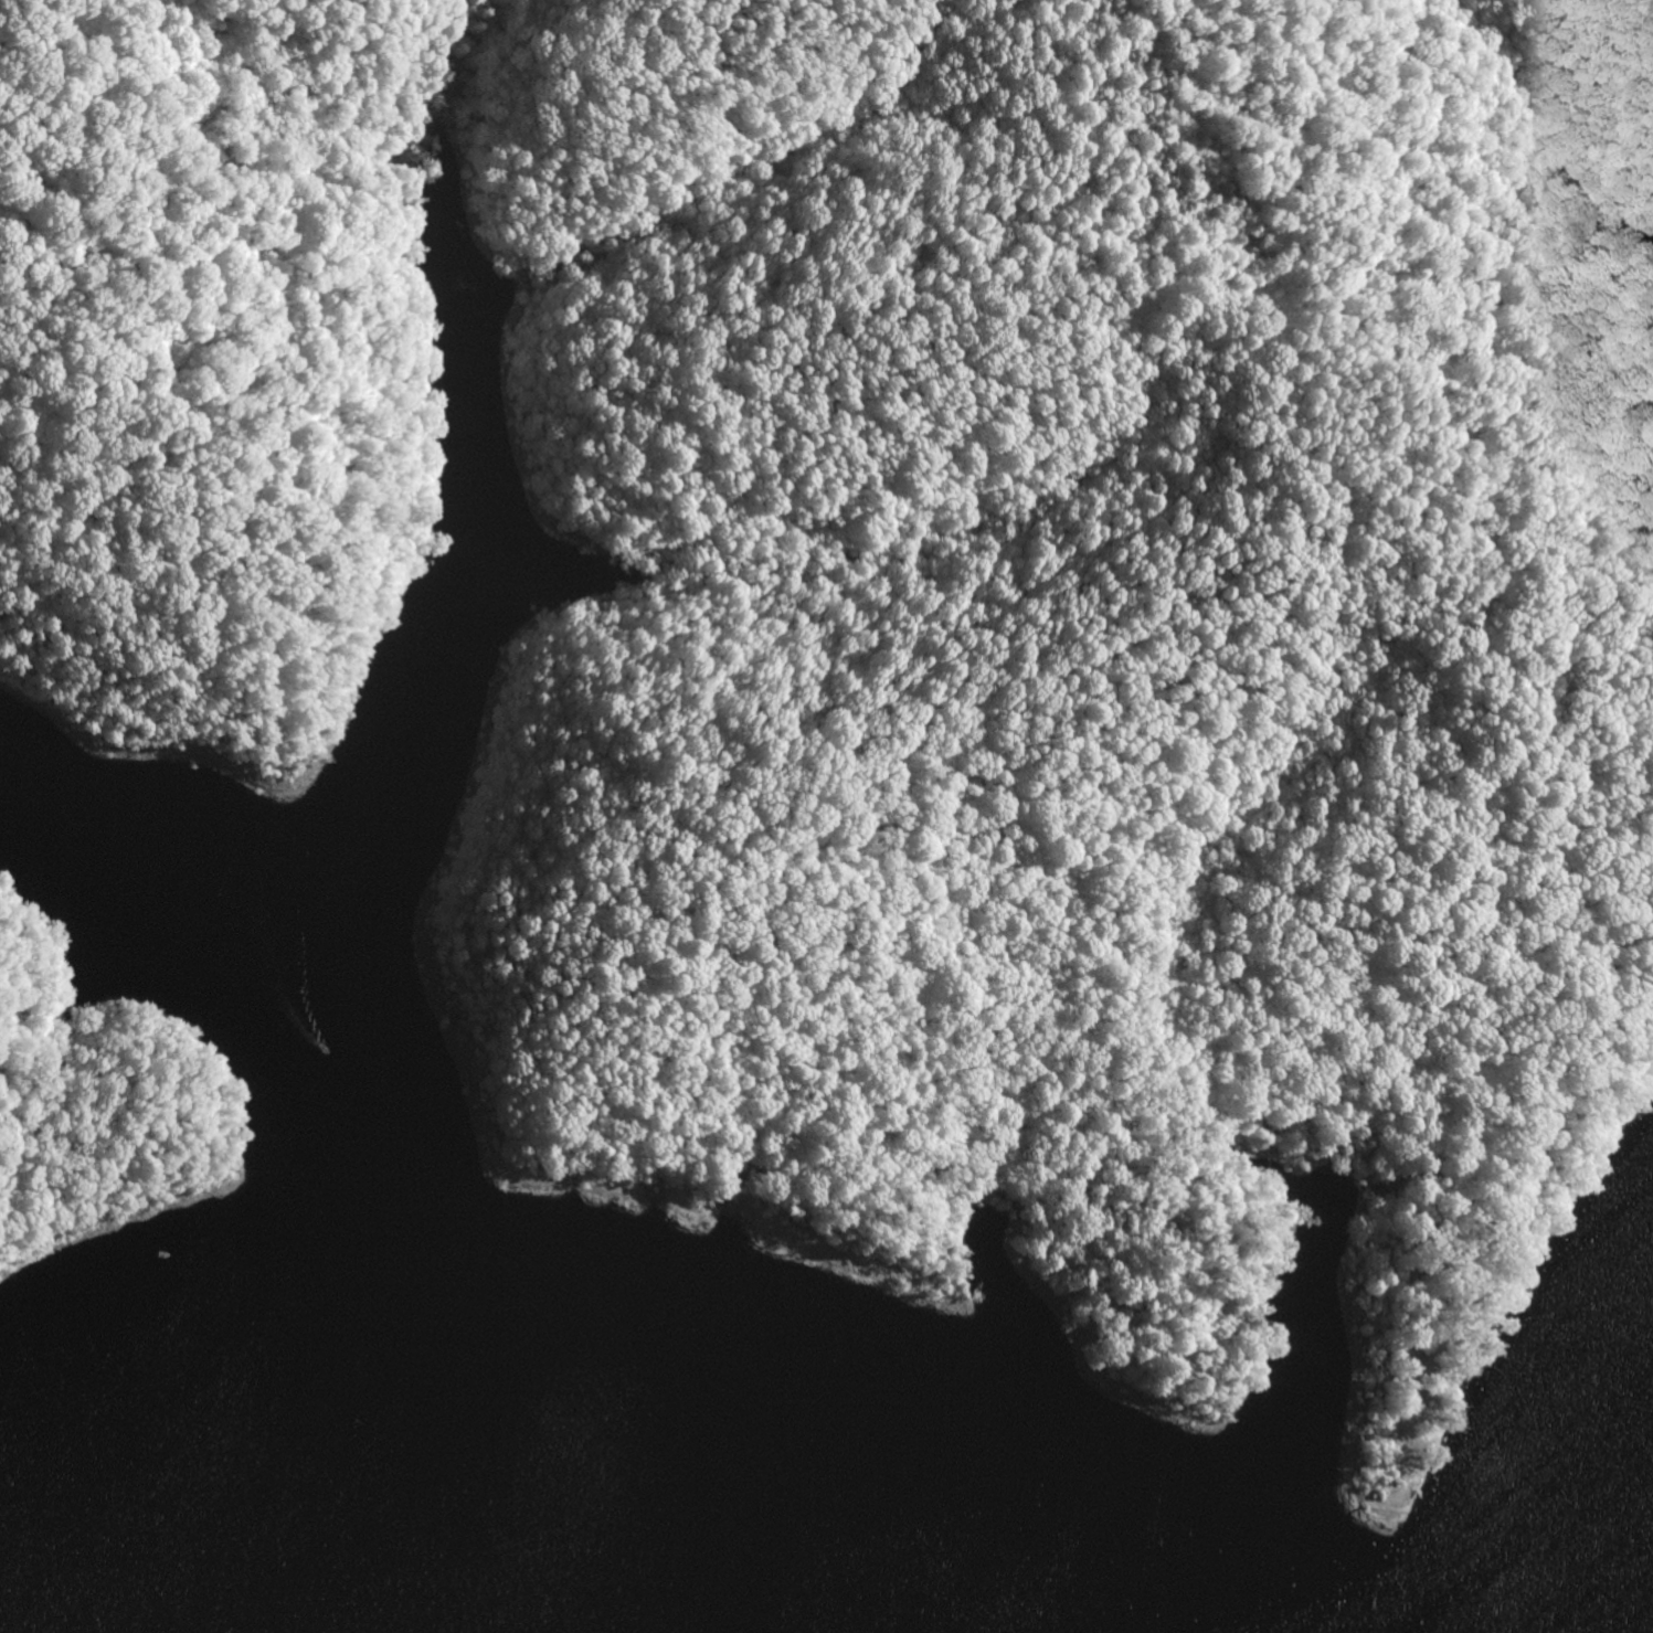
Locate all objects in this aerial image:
road: (687, 96)
road: (741, 327)
park: (924, 605)
park: (88, 1111)

